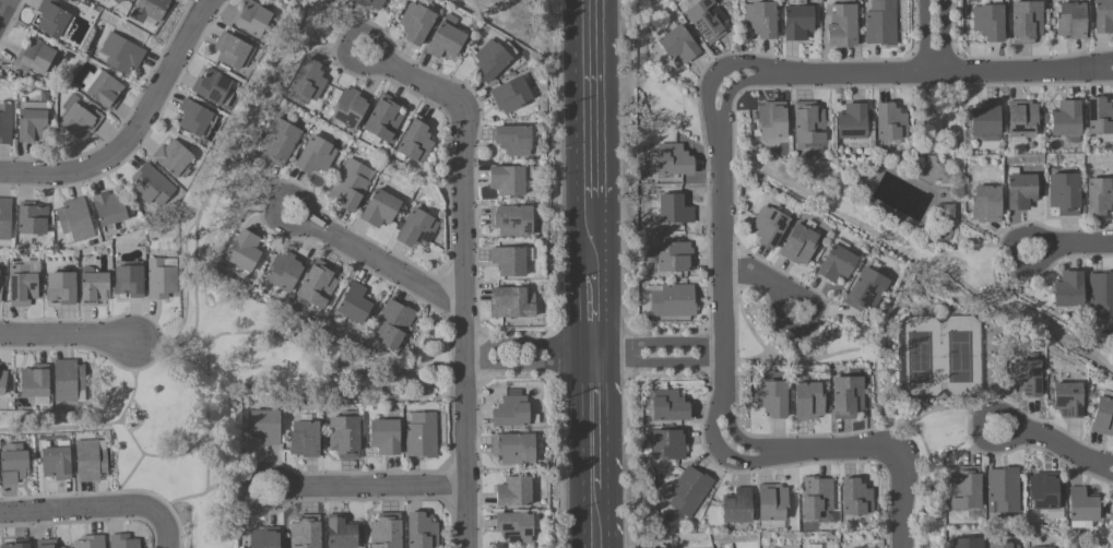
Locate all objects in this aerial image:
building: (116, 1)
building: (371, 3)
road: (3, 8)
building: (150, 9)
building: (1103, 16)
building: (52, 17)
building: (252, 17)
building: (761, 19)
building: (707, 20)
building: (797, 20)
building: (1071, 20)
building: (988, 21)
building: (1026, 21)
building: (416, 22)
building: (880, 22)
building: (841, 24)
road: (334, 34)
building: (446, 38)
road: (936, 38)
building: (676, 41)
building: (234, 50)
building: (121, 53)
building: (35, 57)
building: (493, 59)
road: (735, 63)
road: (1103, 64)
road: (1103, 74)
road: (933, 75)
building: (308, 79)
road: (754, 80)
building: (214, 87)
road: (782, 88)
building: (105, 90)
building: (511, 94)
road: (591, 97)
road: (725, 104)
building: (350, 106)
road: (708, 106)
building: (1099, 116)
building: (79, 117)
building: (196, 117)
building: (384, 117)
building: (771, 119)
building: (985, 119)
building: (1021, 119)
building: (1066, 120)
building: (32, 121)
building: (852, 121)
building: (807, 122)
building: (5, 123)
building: (889, 123)
road: (137, 132)
building: (513, 140)
building: (279, 141)
building: (415, 142)
building: (809, 148)
building: (316, 155)
building: (174, 156)
road: (227, 157)
building: (672, 160)
building: (943, 172)
building: (507, 179)
building: (350, 184)
building: (152, 186)
building: (1020, 189)
building: (1064, 193)
building: (1099, 195)
road: (250, 196)
building: (986, 204)
building: (109, 209)
building: (380, 209)
building: (674, 209)
building: (946, 211)
building: (5, 218)
building: (33, 218)
building: (75, 218)
building: (511, 219)
building: (770, 225)
building: (416, 228)
road: (593, 235)
building: (798, 245)
road: (993, 247)
road: (1071, 247)
building: (244, 252)
building: (675, 257)
building: (509, 260)
road: (380, 263)
building: (836, 263)
road: (719, 264)
building: (284, 271)
road: (464, 273)
road: (753, 274)
building: (161, 279)
building: (129, 281)
building: (22, 285)
building: (93, 286)
building: (316, 286)
building: (61, 287)
building: (1068, 288)
building: (865, 289)
building: (0, 291)
road: (905, 294)
building: (1101, 294)
building: (673, 301)
building: (511, 302)
building: (355, 303)
road: (594, 309)
road: (1023, 322)
building: (392, 324)
road: (808, 329)
road: (69, 336)
road: (658, 343)
road: (531, 348)
road: (596, 354)
road: (877, 359)
park: (917, 359)
park: (958, 359)
road: (780, 362)
road: (660, 364)
road: (532, 366)
road: (351, 369)
building: (1026, 377)
building: (68, 380)
building: (2, 381)
building: (35, 381)
road: (208, 386)
building: (846, 396)
building: (772, 397)
building: (1068, 400)
building: (808, 401)
building: (668, 406)
road: (956, 410)
building: (513, 413)
building: (1103, 417)
road: (597, 422)
road: (141, 424)
road: (103, 426)
building: (265, 426)
building: (421, 436)
building: (344, 437)
building: (384, 437)
building: (304, 439)
road: (741, 440)
building: (668, 443)
road: (1044, 443)
building: (513, 448)
road: (838, 451)
road: (723, 456)
road: (934, 457)
building: (91, 461)
road: (1103, 462)
building: (13, 463)
building: (57, 463)
road: (206, 463)
road: (134, 470)
road: (1102, 473)
road: (369, 487)
building: (964, 488)
road: (211, 489)
building: (689, 490)
building: (514, 491)
building: (1003, 491)
building: (1044, 495)
building: (855, 498)
building: (816, 499)
road: (907, 499)
building: (771, 502)
building: (737, 507)
building: (1080, 507)
road: (81, 510)
road: (597, 514)
building: (769, 524)
building: (517, 526)
road: (168, 529)
building: (421, 531)
building: (305, 532)
building: (386, 532)
building: (341, 533)
building: (263, 537)
building: (91, 541)
building: (122, 541)
building: (967, 543)
building: (13, 544)
building: (48, 544)
building: (1003, 546)
building: (1042, 547)

